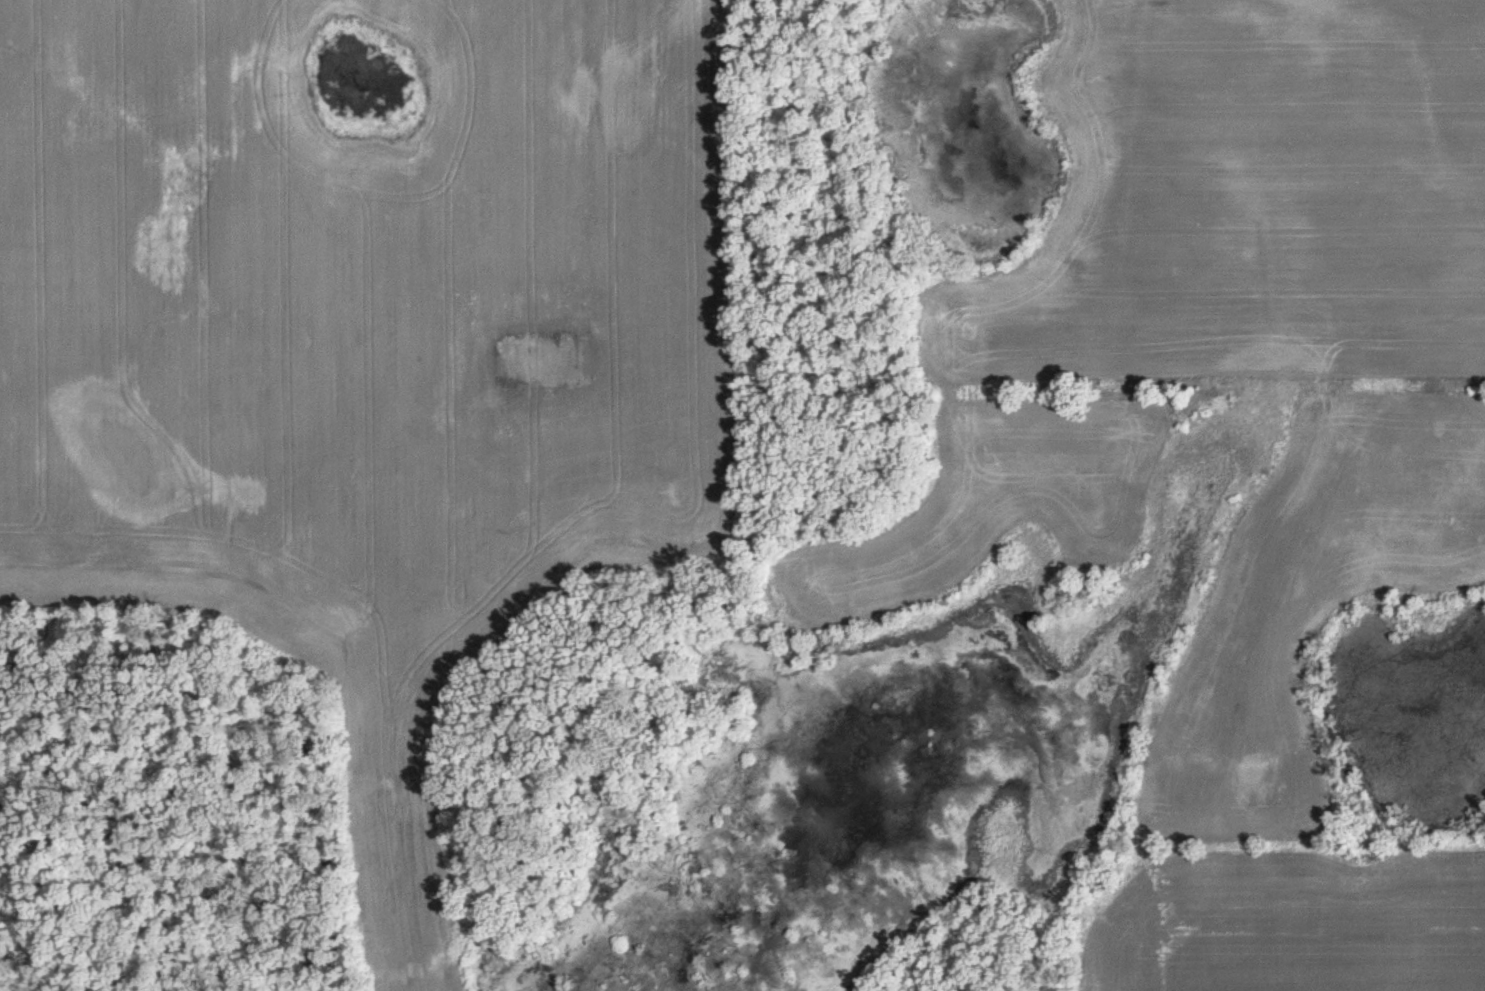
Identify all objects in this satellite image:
crop: (1246, 198)
crop: (401, 827)
crop: (1303, 926)

